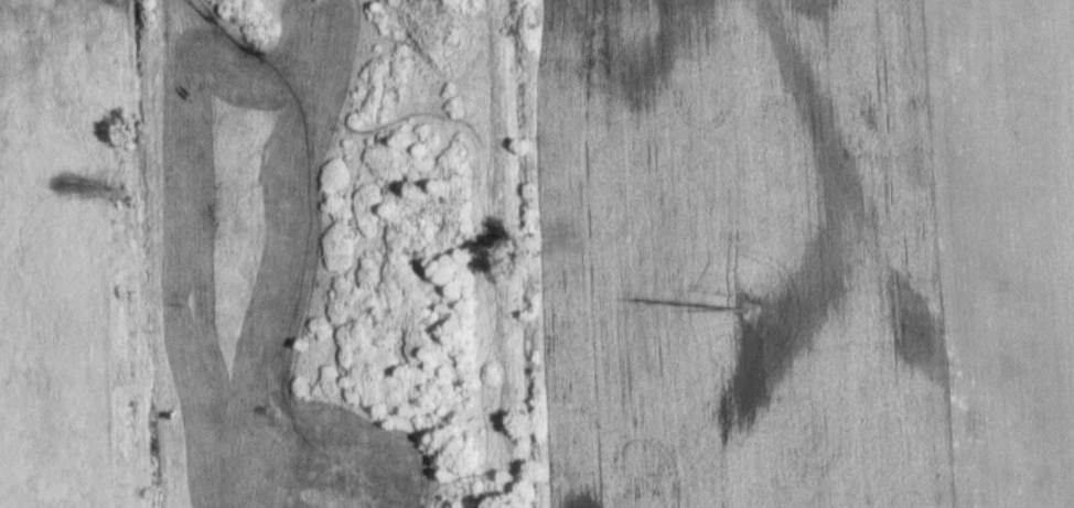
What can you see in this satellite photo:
power tower: (745, 311)

